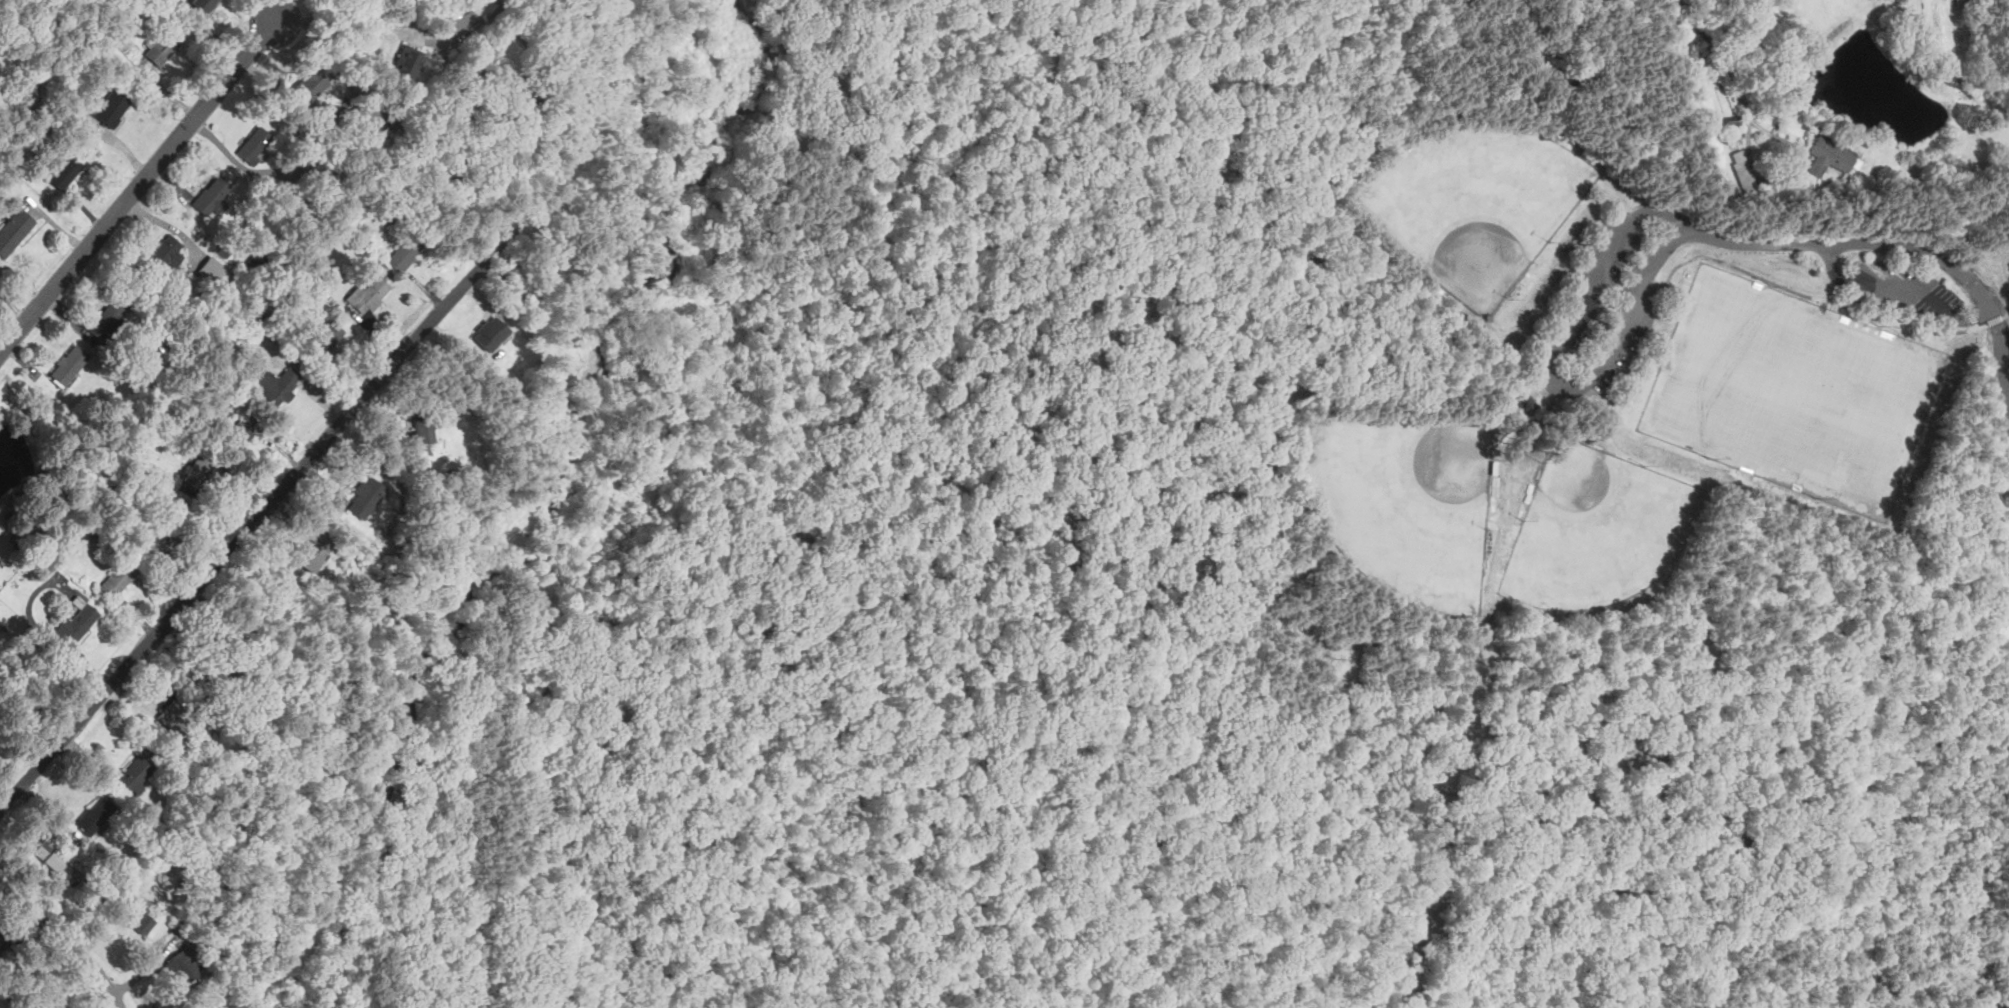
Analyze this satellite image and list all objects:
building: (175, 2)
building: (204, 4)
building: (486, 7)
road: (275, 11)
road: (356, 15)
road: (212, 18)
street lamp: (333, 31)
road: (215, 35)
road: (579, 36)
building: (166, 44)
road: (1717, 56)
building: (411, 61)
road: (1244, 79)
building: (311, 86)
road: (1513, 104)
building: (112, 108)
building: (523, 109)
street lamp: (176, 112)
road: (118, 125)
road: (215, 139)
road: (123, 145)
building: (254, 145)
building: (1827, 155)
building: (309, 157)
building: (1743, 170)
building: (65, 172)
road: (1786, 176)
road: (172, 183)
building: (1721, 184)
road: (79, 186)
road: (138, 187)
building: (213, 195)
park: (1474, 208)
road: (86, 209)
road: (56, 224)
road: (170, 226)
building: (14, 231)
road: (34, 236)
road: (1888, 247)
building: (403, 251)
building: (166, 252)
road: (1730, 266)
building: (213, 269)
road: (1582, 270)
building: (508, 284)
parking lot: (1906, 290)
street lamp: (26, 291)
road: (1900, 293)
building: (368, 295)
road: (596, 295)
road: (1561, 303)
parking lot: (1609, 310)
road: (68, 314)
building: (110, 317)
road: (1854, 322)
road: (1506, 329)
building: (491, 333)
building: (325, 339)
road: (1547, 340)
building: (70, 363)
road: (30, 366)
building: (277, 387)
road: (1515, 387)
road: (1565, 387)
park: (1794, 392)
building: (1526, 403)
building: (425, 428)
road: (1508, 430)
building: (240, 431)
building: (199, 473)
park: (1546, 488)
building: (366, 498)
park: (1409, 508)
park: (1602, 533)
road: (242, 535)
building: (150, 538)
building: (316, 551)
building: (117, 578)
road: (1765, 580)
road: (487, 595)
building: (78, 619)
road: (1304, 636)
road: (567, 659)
building: (213, 670)
building: (177, 718)
road: (1950, 722)
road: (1870, 745)
building: (141, 771)
road: (355, 793)
road: (483, 809)
road: (636, 810)
building: (96, 815)
building: (51, 854)
building: (136, 915)
building: (3, 928)
road: (67, 938)
building: (7, 951)
building: (182, 963)

